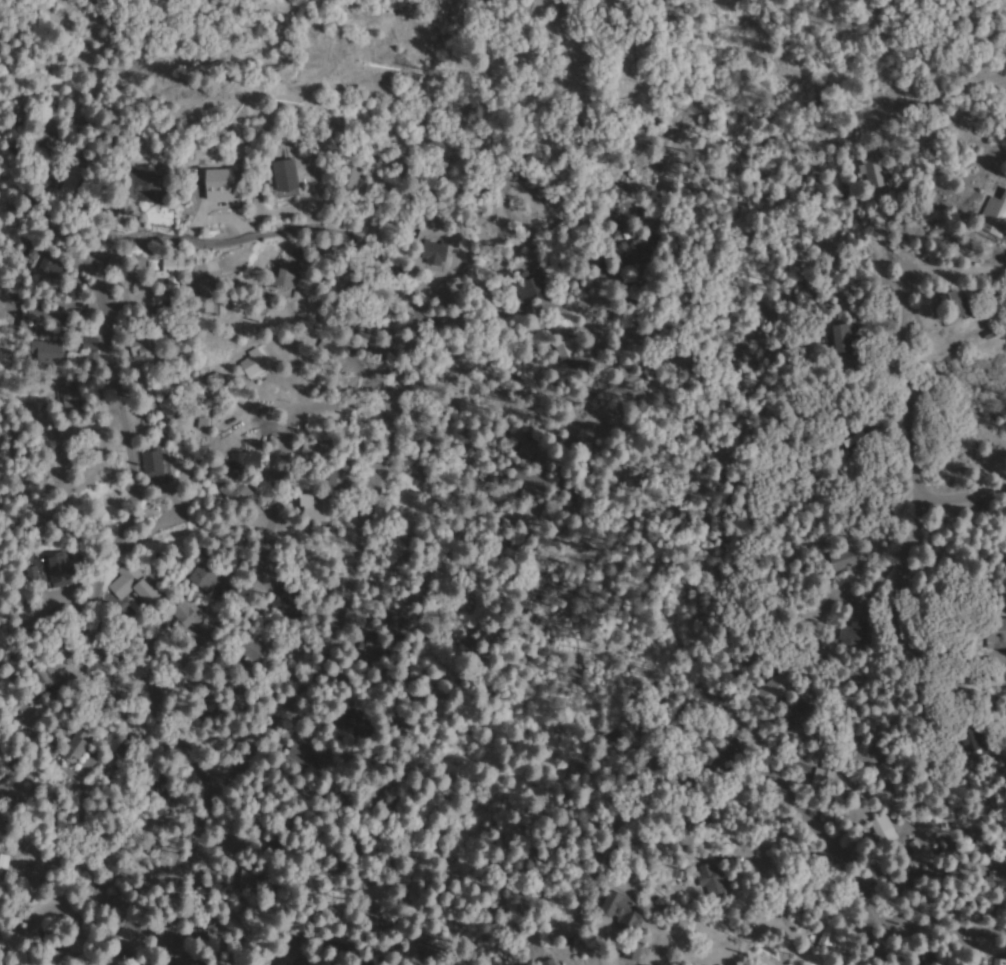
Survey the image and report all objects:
road: (525, 75)
building: (869, 174)
building: (284, 175)
building: (69, 181)
building: (223, 183)
building: (155, 191)
building: (993, 214)
building: (635, 253)
building: (283, 274)
building: (173, 276)
building: (295, 294)
building: (950, 305)
road: (109, 317)
building: (842, 338)
road: (906, 340)
building: (562, 346)
building: (328, 348)
building: (142, 349)
building: (89, 352)
building: (251, 361)
road: (531, 377)
building: (73, 397)
building: (235, 490)
road: (961, 499)
building: (315, 508)
road: (268, 515)
building: (59, 567)
building: (133, 586)
building: (282, 607)
road: (781, 626)
road: (903, 633)
building: (989, 633)
building: (772, 686)
road: (291, 696)
building: (75, 749)
building: (821, 771)
road: (828, 807)
building: (881, 830)
building: (713, 878)
building: (995, 882)
building: (623, 910)
road: (78, 911)
road: (945, 928)
road: (571, 953)
building: (549, 962)
building: (989, 963)

